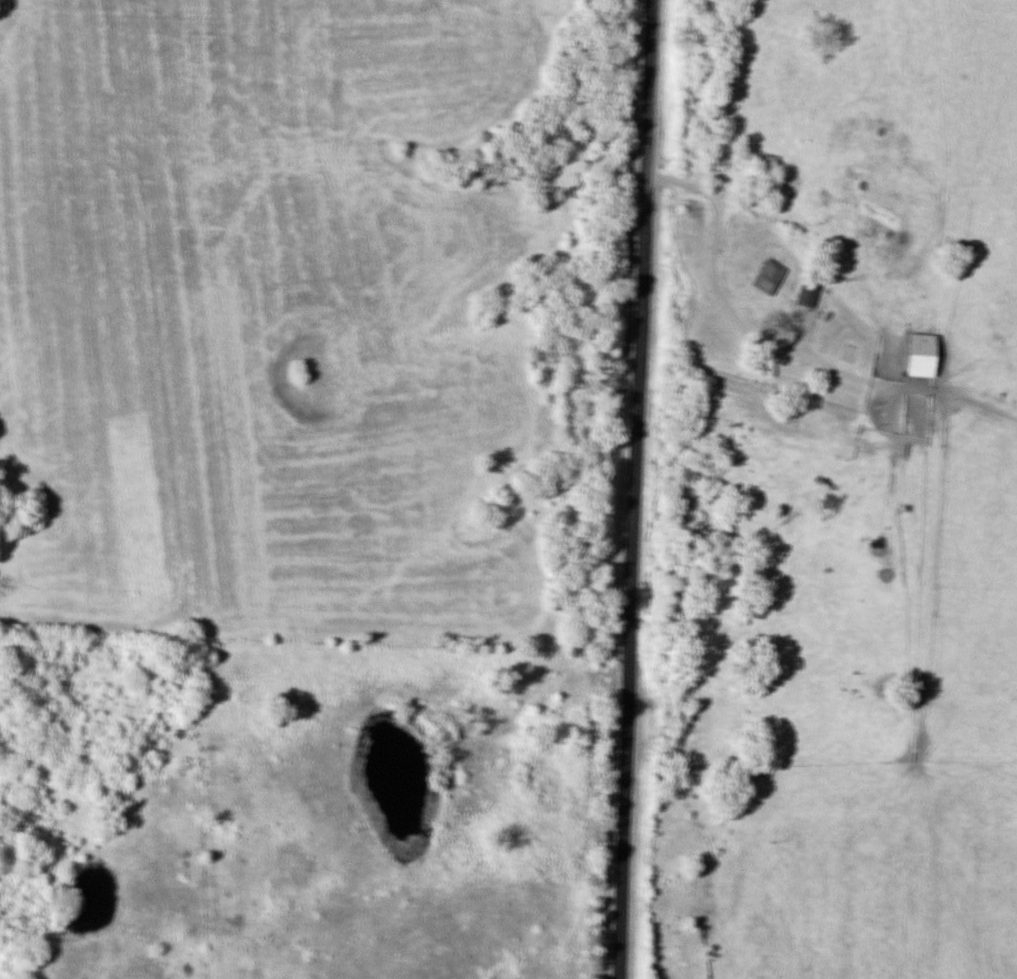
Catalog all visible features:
road: (706, 274)
building: (762, 280)
building: (802, 293)
building: (917, 354)
road: (637, 489)

